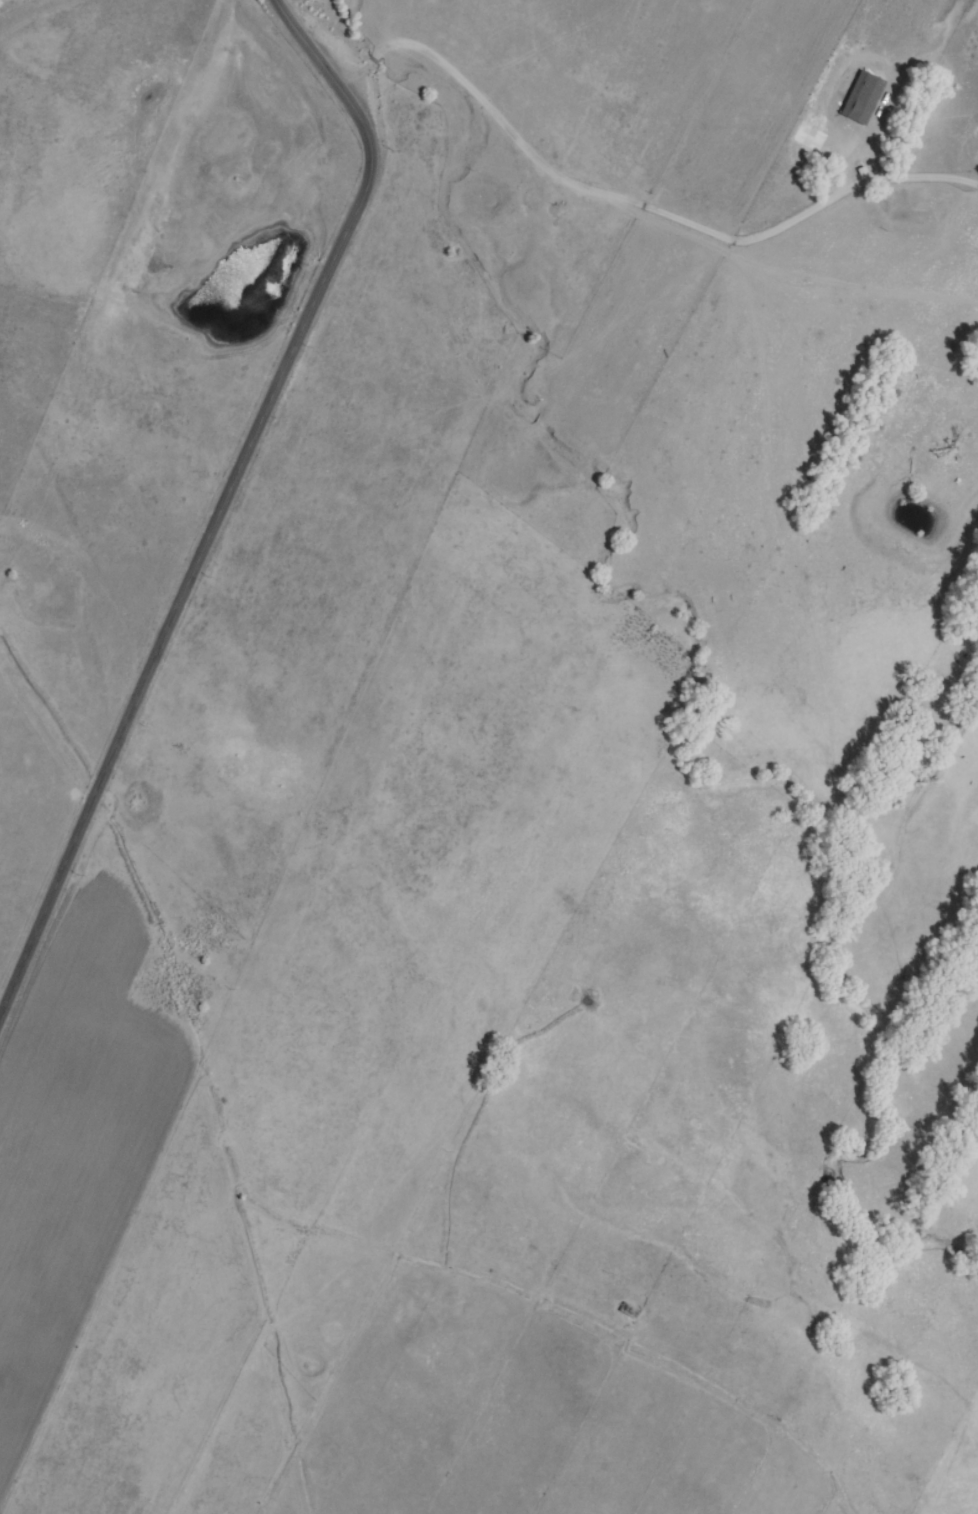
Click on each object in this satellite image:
road: (48, 14)
road: (222, 499)
building: (630, 1312)

